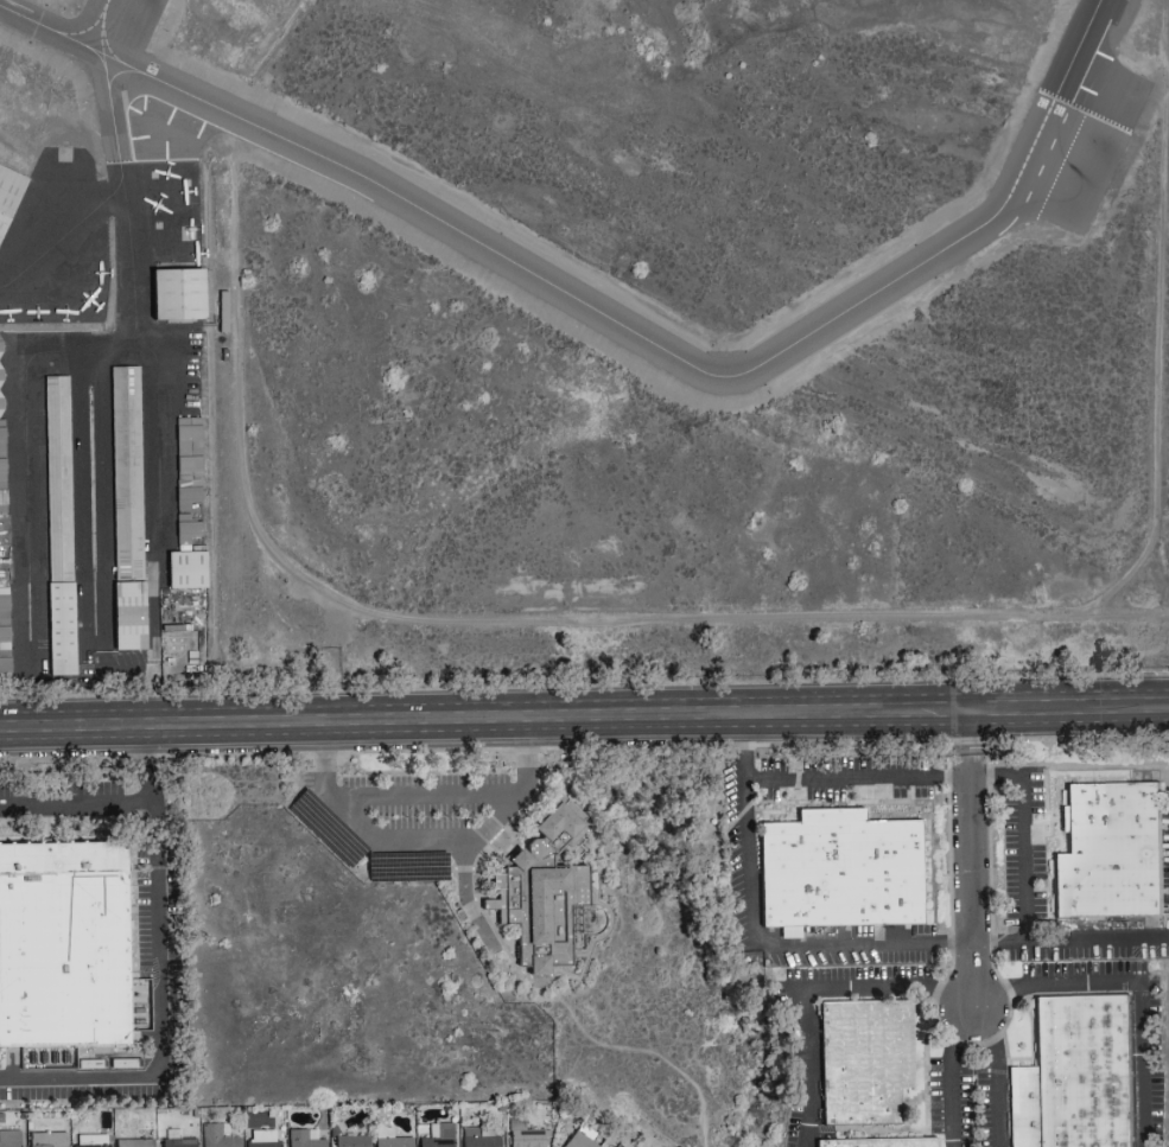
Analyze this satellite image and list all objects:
airport taxiway: (103, 24)
building: (7, 189)
building: (174, 293)
airport taxiway: (612, 319)
airport: (580, 339)
building: (0, 359)
building: (0, 394)
building: (186, 461)
building: (126, 473)
building: (2, 501)
building: (57, 524)
building: (185, 530)
building: (183, 569)
road: (1122, 611)
road: (958, 613)
building: (126, 614)
building: (5, 633)
road: (584, 724)
road: (147, 766)
road: (938, 775)
road: (425, 795)
road: (426, 839)
building: (1113, 855)
road: (748, 860)
road: (974, 862)
building: (843, 873)
building: (540, 887)
road: (466, 894)
road: (1072, 937)
road: (157, 941)
road: (863, 941)
building: (63, 949)
road: (971, 1007)
road: (977, 1012)
building: (866, 1064)
building: (1078, 1078)
building: (522, 1134)
building: (437, 1135)
building: (215, 1136)
building: (478, 1136)
building: (579, 1136)
building: (9, 1138)
building: (261, 1138)
building: (303, 1138)
building: (389, 1138)
building: (46, 1139)
building: (91, 1140)
building: (176, 1140)
building: (350, 1140)
building: (133, 1142)
building: (882, 1143)

